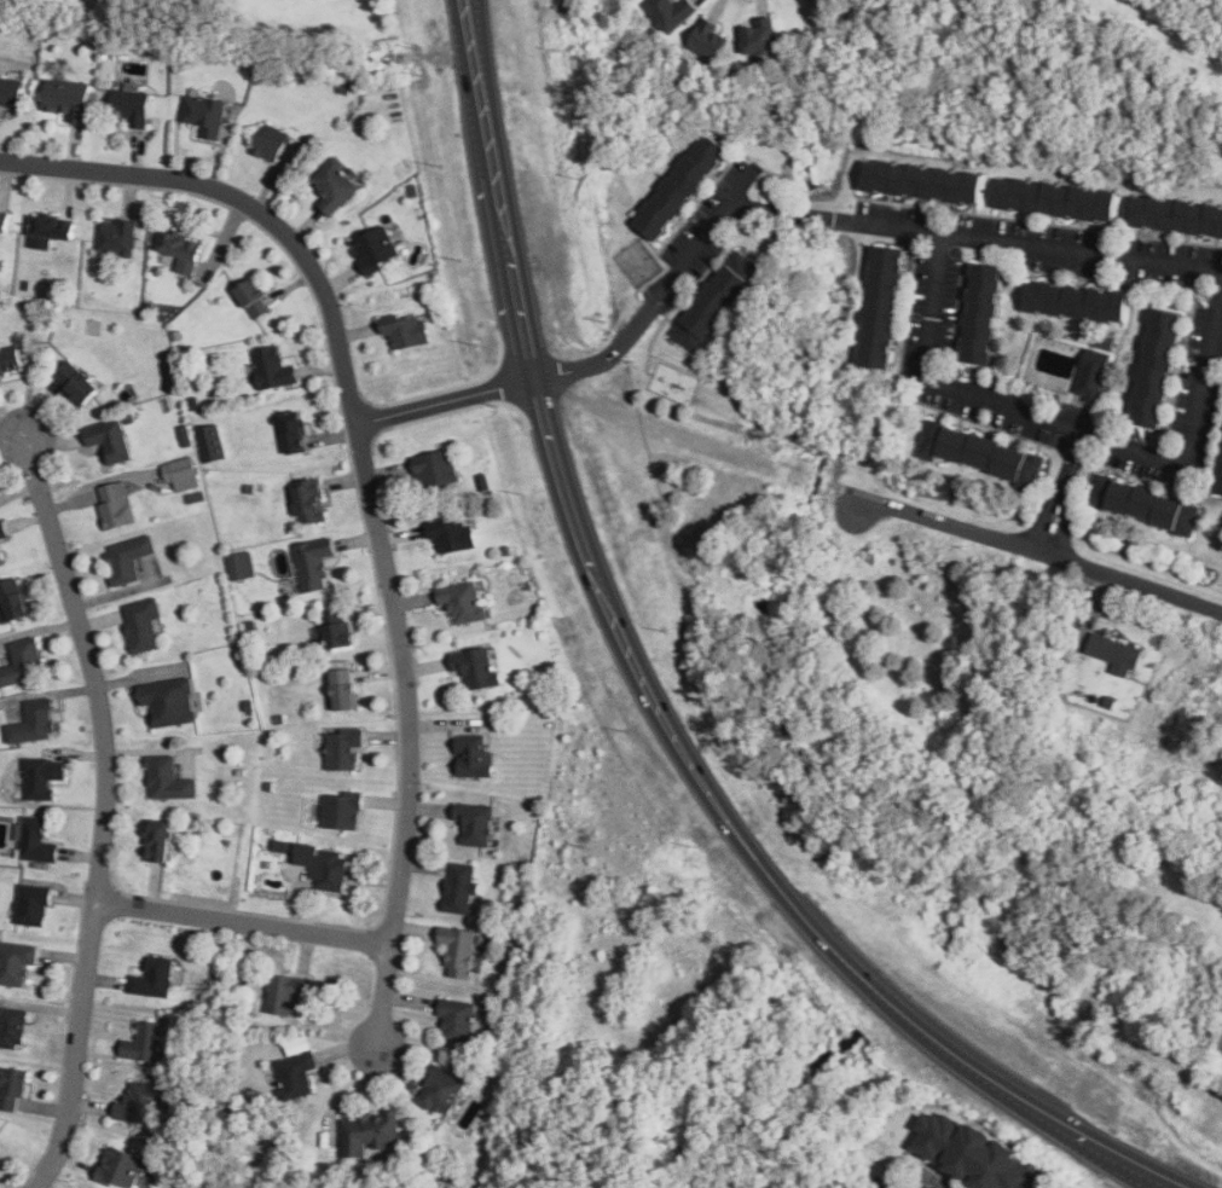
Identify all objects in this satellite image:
building: (668, 12)
road: (462, 25)
road: (473, 25)
building: (758, 36)
building: (706, 39)
building: (10, 92)
building: (66, 98)
building: (129, 105)
building: (203, 114)
building: (268, 143)
building: (921, 181)
building: (332, 185)
building: (679, 186)
building: (1054, 199)
building: (1176, 215)
building: (4, 221)
building: (48, 231)
building: (115, 237)
road: (977, 239)
building: (373, 249)
building: (180, 250)
building: (251, 297)
building: (713, 301)
building: (1075, 301)
building: (880, 306)
road: (644, 309)
building: (979, 313)
building: (402, 330)
building: (10, 359)
building: (271, 367)
building: (1154, 367)
building: (1090, 375)
building: (76, 382)
road: (445, 400)
road: (1067, 430)
building: (293, 433)
road: (359, 434)
building: (109, 439)
building: (209, 442)
building: (978, 453)
building: (434, 468)
building: (180, 474)
building: (1218, 475)
road: (1062, 492)
building: (307, 500)
building: (1142, 504)
building: (115, 505)
building: (2, 529)
building: (450, 534)
road: (1041, 546)
building: (128, 557)
building: (0, 560)
building: (313, 562)
building: (239, 564)
building: (12, 601)
building: (462, 601)
building: (141, 624)
building: (332, 630)
building: (1113, 653)
building: (23, 661)
building: (474, 667)
building: (341, 690)
building: (168, 701)
road: (664, 722)
building: (33, 723)
building: (343, 748)
building: (473, 757)
building: (41, 777)
building: (167, 780)
road: (103, 810)
building: (340, 810)
building: (474, 823)
building: (34, 840)
building: (157, 840)
building: (318, 863)
building: (461, 888)
building: (31, 904)
road: (243, 923)
building: (457, 950)
building: (16, 962)
building: (154, 978)
building: (283, 992)
road: (383, 993)
building: (456, 1018)
building: (12, 1027)
building: (143, 1042)
building: (296, 1044)
building: (294, 1074)
building: (11, 1086)
building: (440, 1090)
building: (140, 1103)
building: (369, 1132)
building: (972, 1153)
building: (118, 1167)
road: (885, 1187)

